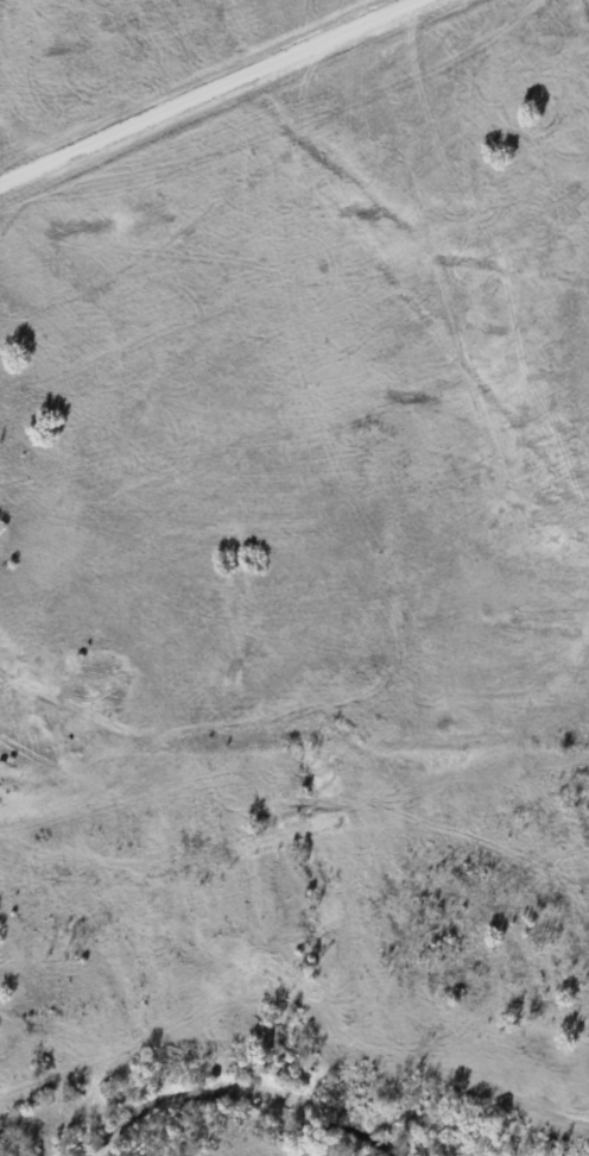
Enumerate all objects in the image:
road: (214, 90)

